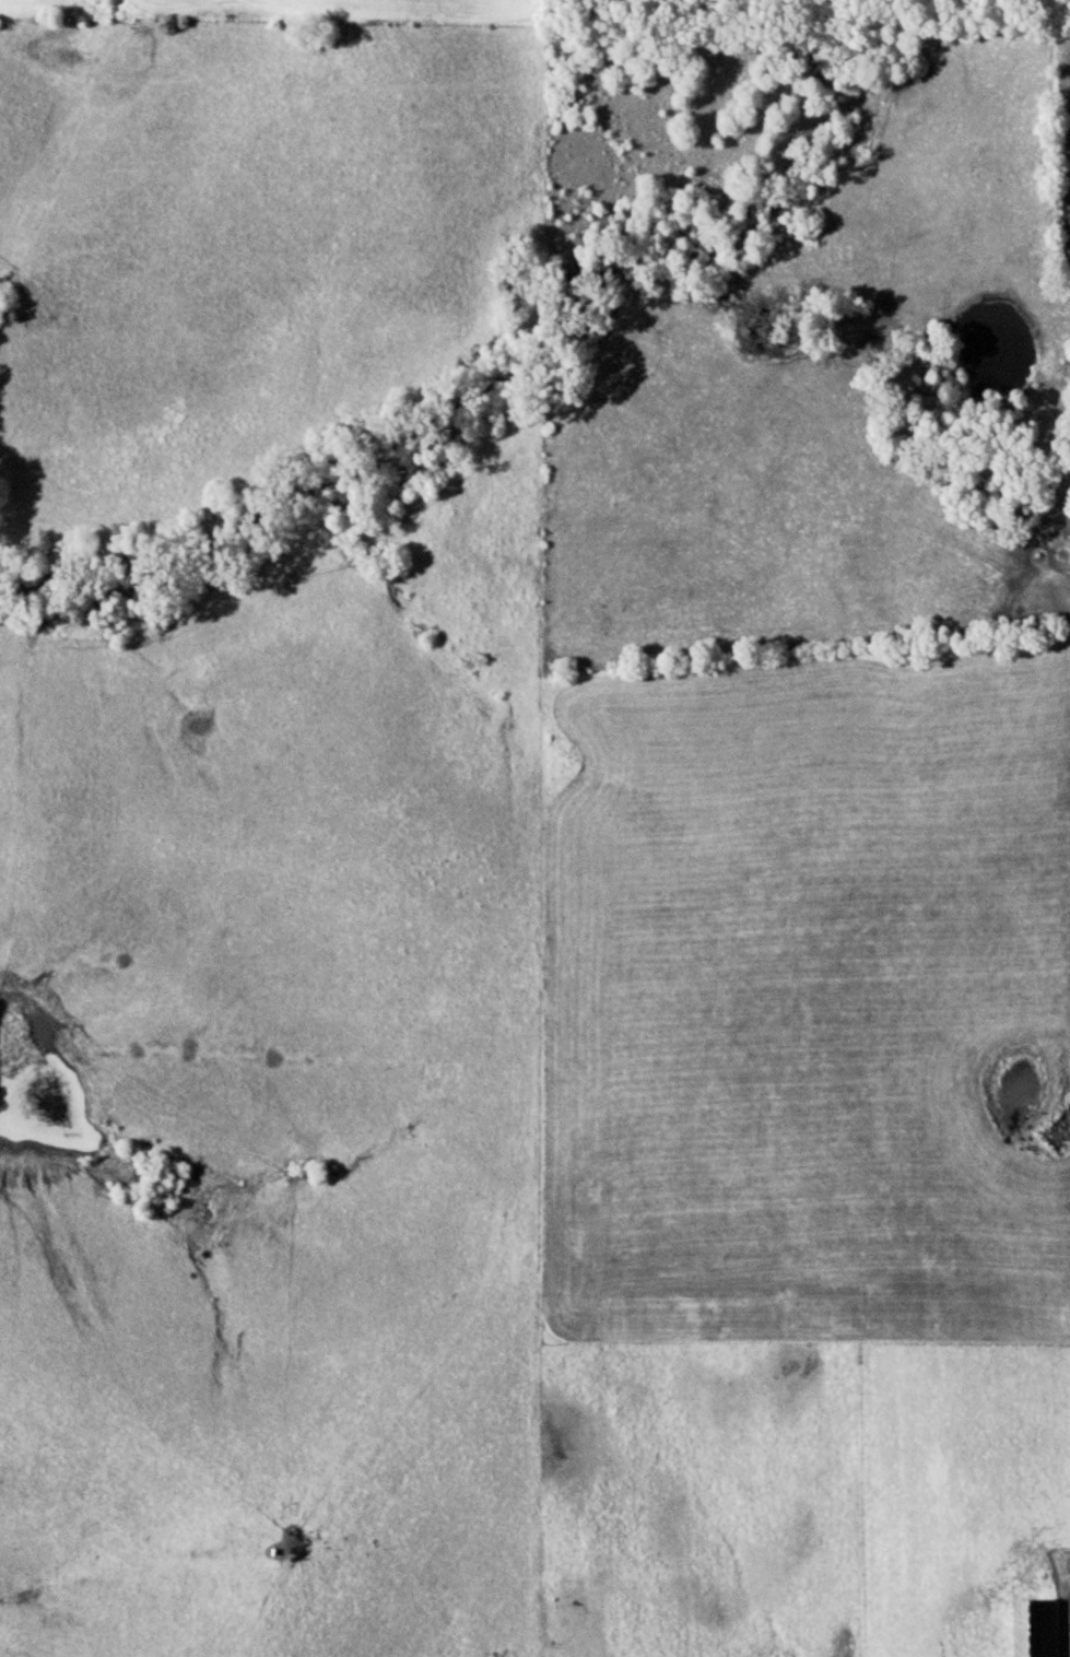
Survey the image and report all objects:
building: (1034, 1625)

